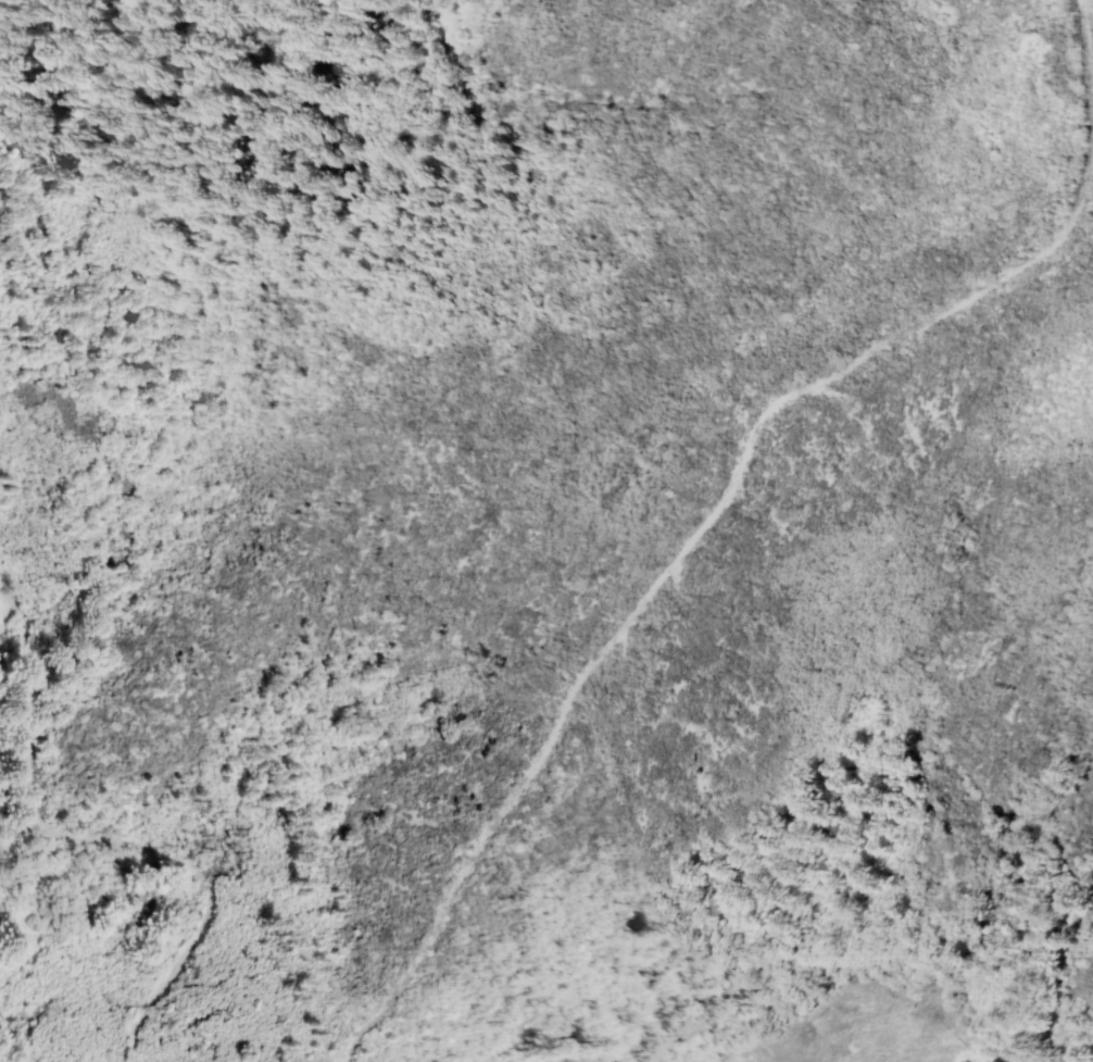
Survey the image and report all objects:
road: (1092, 137)
road: (655, 580)
road: (100, 839)

